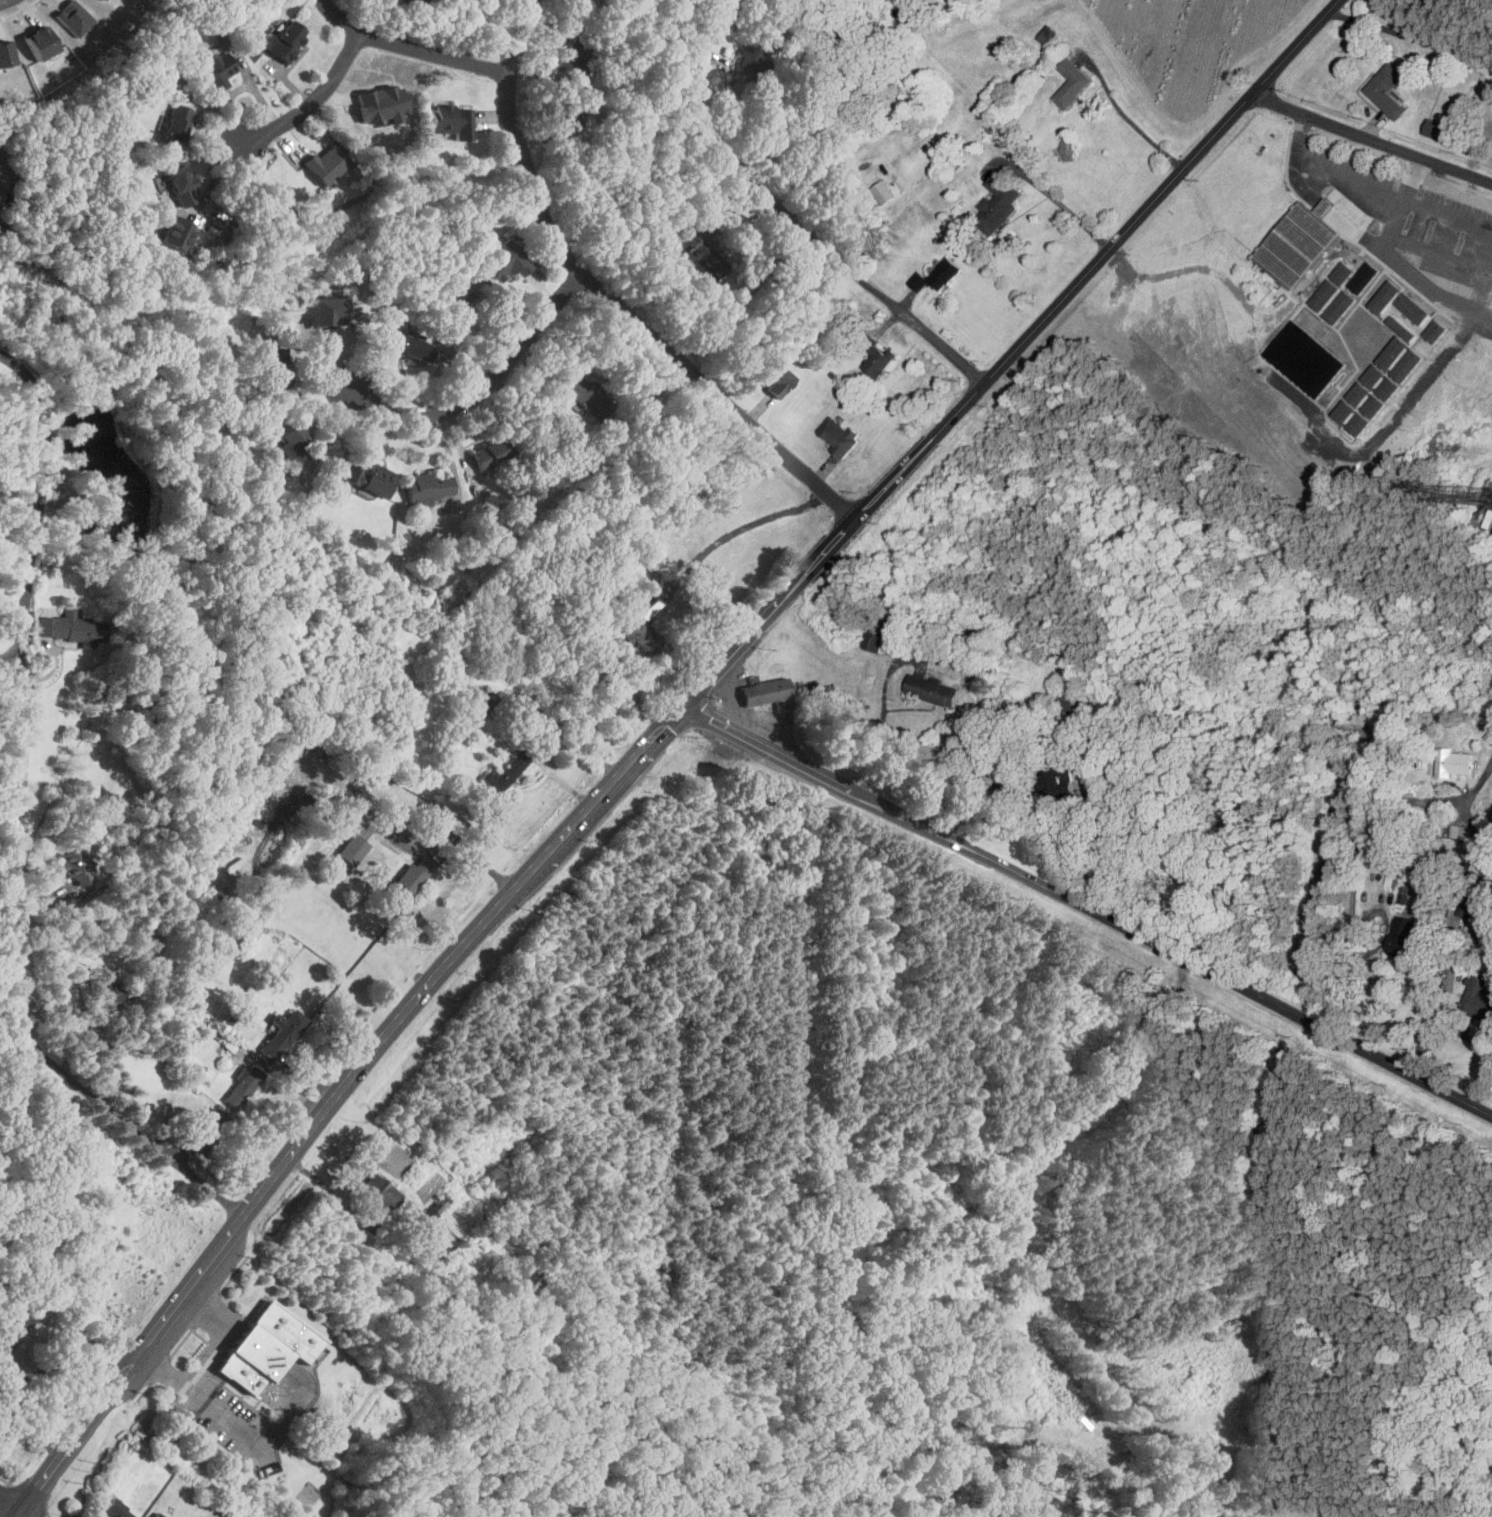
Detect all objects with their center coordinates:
building: (412, 2)
building: (611, 12)
building: (76, 17)
building: (1048, 35)
road: (1411, 39)
building: (287, 40)
building: (41, 42)
road: (411, 47)
building: (6, 53)
building: (578, 54)
building: (218, 69)
building: (1072, 84)
building: (1386, 91)
road: (312, 102)
building: (384, 102)
building: (453, 119)
building: (568, 119)
building: (176, 123)
building: (1434, 129)
road: (1138, 130)
road: (1372, 138)
building: (325, 164)
building: (181, 184)
building: (884, 193)
road: (1357, 201)
building: (999, 202)
road: (1060, 204)
road: (788, 213)
road: (1457, 216)
building: (177, 232)
building: (1299, 245)
building: (706, 260)
building: (503, 264)
building: (946, 274)
building: (1342, 274)
building: (1364, 278)
building: (919, 281)
building: (1324, 295)
building: (1385, 297)
road: (609, 298)
building: (457, 300)
building: (1340, 307)
building: (1414, 308)
building: (326, 312)
building: (1402, 328)
building: (1437, 331)
building: (415, 348)
building: (1393, 353)
building: (1306, 359)
building: (882, 362)
building: (273, 365)
building: (1408, 366)
building: (775, 378)
road: (484, 388)
building: (1389, 389)
building: (585, 396)
building: (1363, 397)
building: (1359, 424)
building: (840, 436)
building: (292, 443)
building: (492, 453)
building: (369, 478)
building: (430, 487)
road: (10, 586)
building: (70, 628)
building: (641, 636)
building: (873, 640)
road: (510, 689)
building: (932, 690)
building: (765, 692)
building: (480, 702)
traffic signals: (687, 705)
road: (883, 713)
road: (558, 729)
road: (655, 739)
road: (525, 751)
building: (1455, 763)
building: (508, 769)
road: (562, 781)
road: (1361, 817)
road: (18, 823)
building: (1462, 832)
road: (465, 844)
building: (353, 850)
building: (75, 868)
building: (409, 880)
building: (1472, 901)
road: (1089, 910)
building: (1403, 937)
road: (1355, 966)
building: (108, 992)
building: (1479, 1000)
road: (1443, 1007)
building: (283, 1033)
road: (1485, 1051)
building: (244, 1087)
building: (207, 1132)
building: (381, 1192)
building: (437, 1207)
building: (15, 1322)
road: (226, 1336)
building: (268, 1348)
road: (42, 1378)
road: (173, 1378)
building: (969, 1430)
road: (271, 1436)
building: (1491, 1468)
building: (271, 1469)
road: (16, 1504)
building: (114, 1510)
building: (158, 1515)

